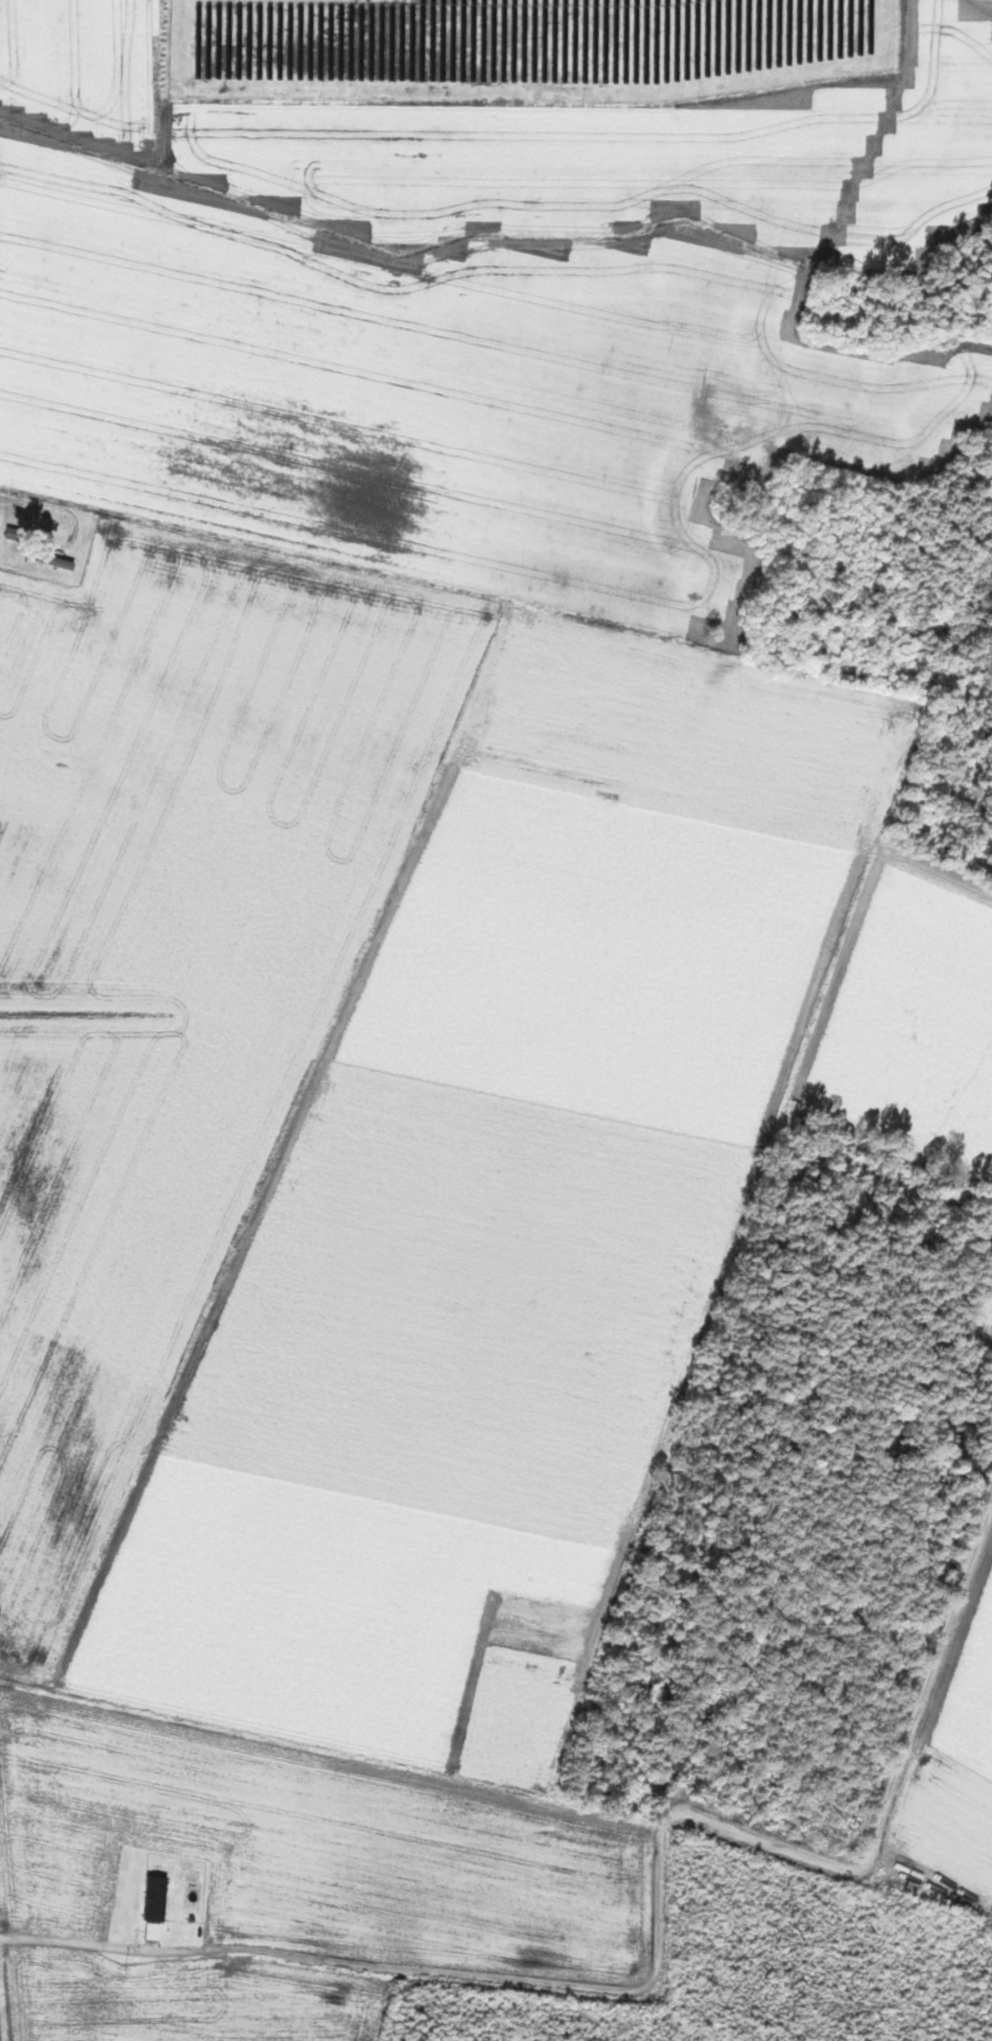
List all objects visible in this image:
road: (10, 498)
road: (75, 532)
building: (158, 1901)
road: (659, 1933)

